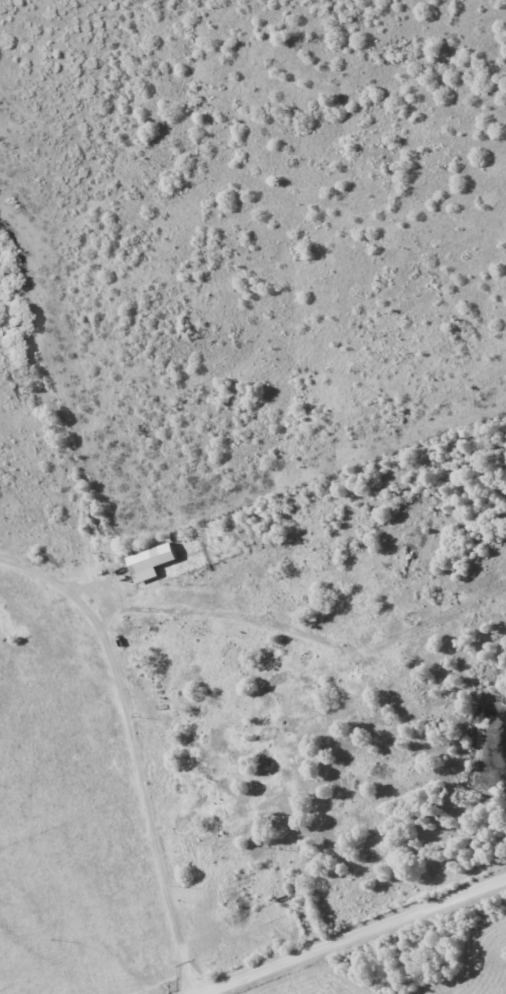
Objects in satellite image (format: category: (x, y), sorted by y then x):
building: (151, 561)
road: (351, 935)
road: (239, 987)

